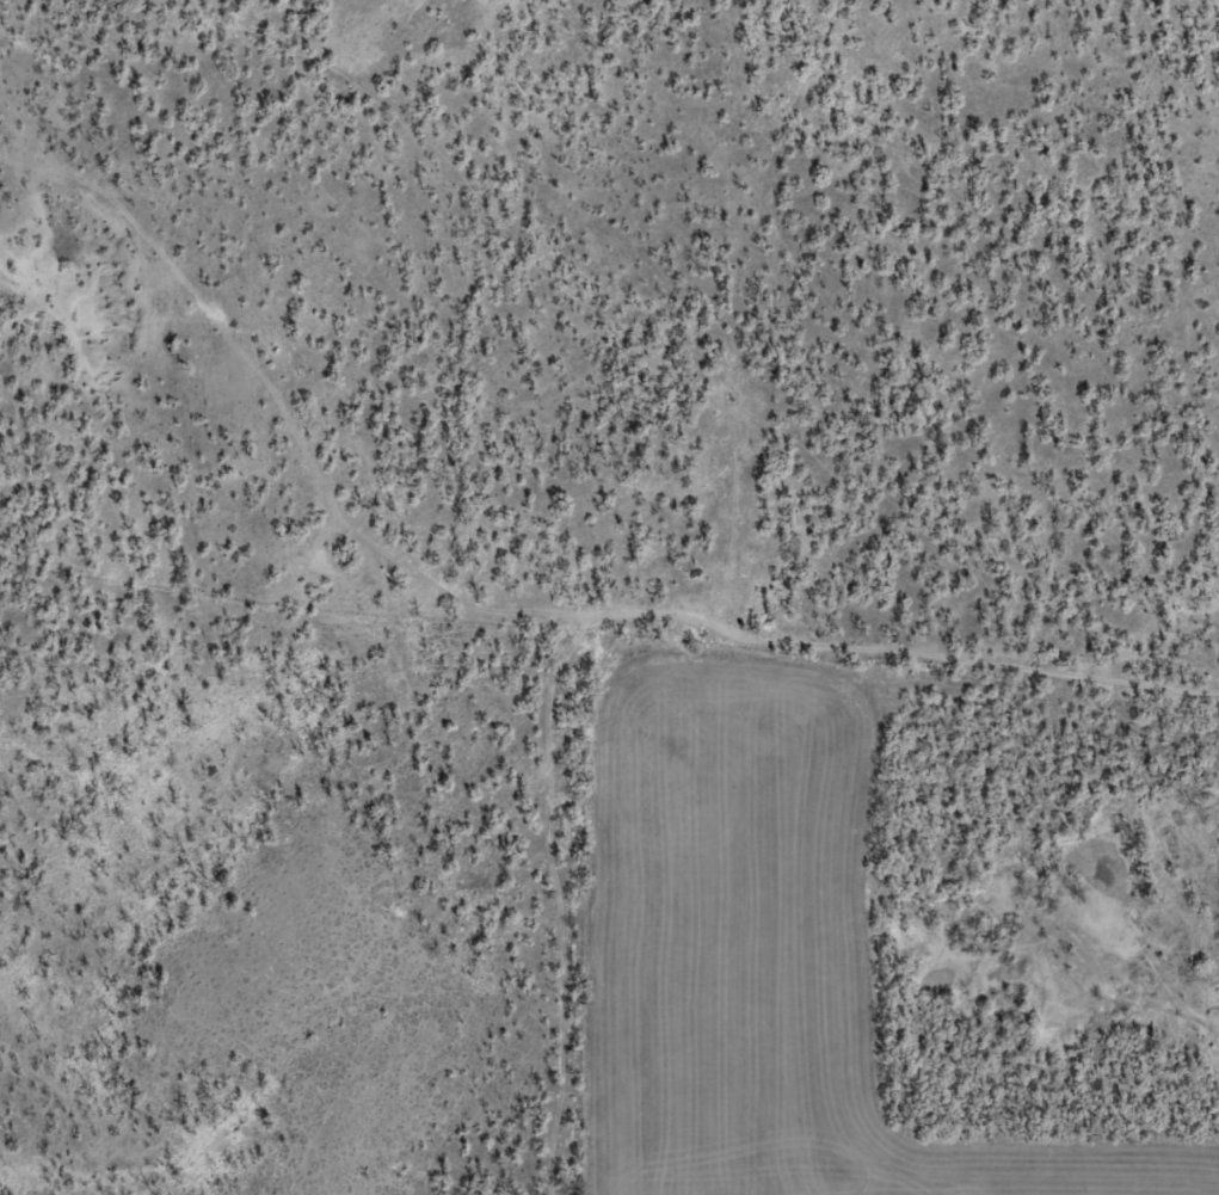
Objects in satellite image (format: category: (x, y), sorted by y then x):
road: (1043, 772)

